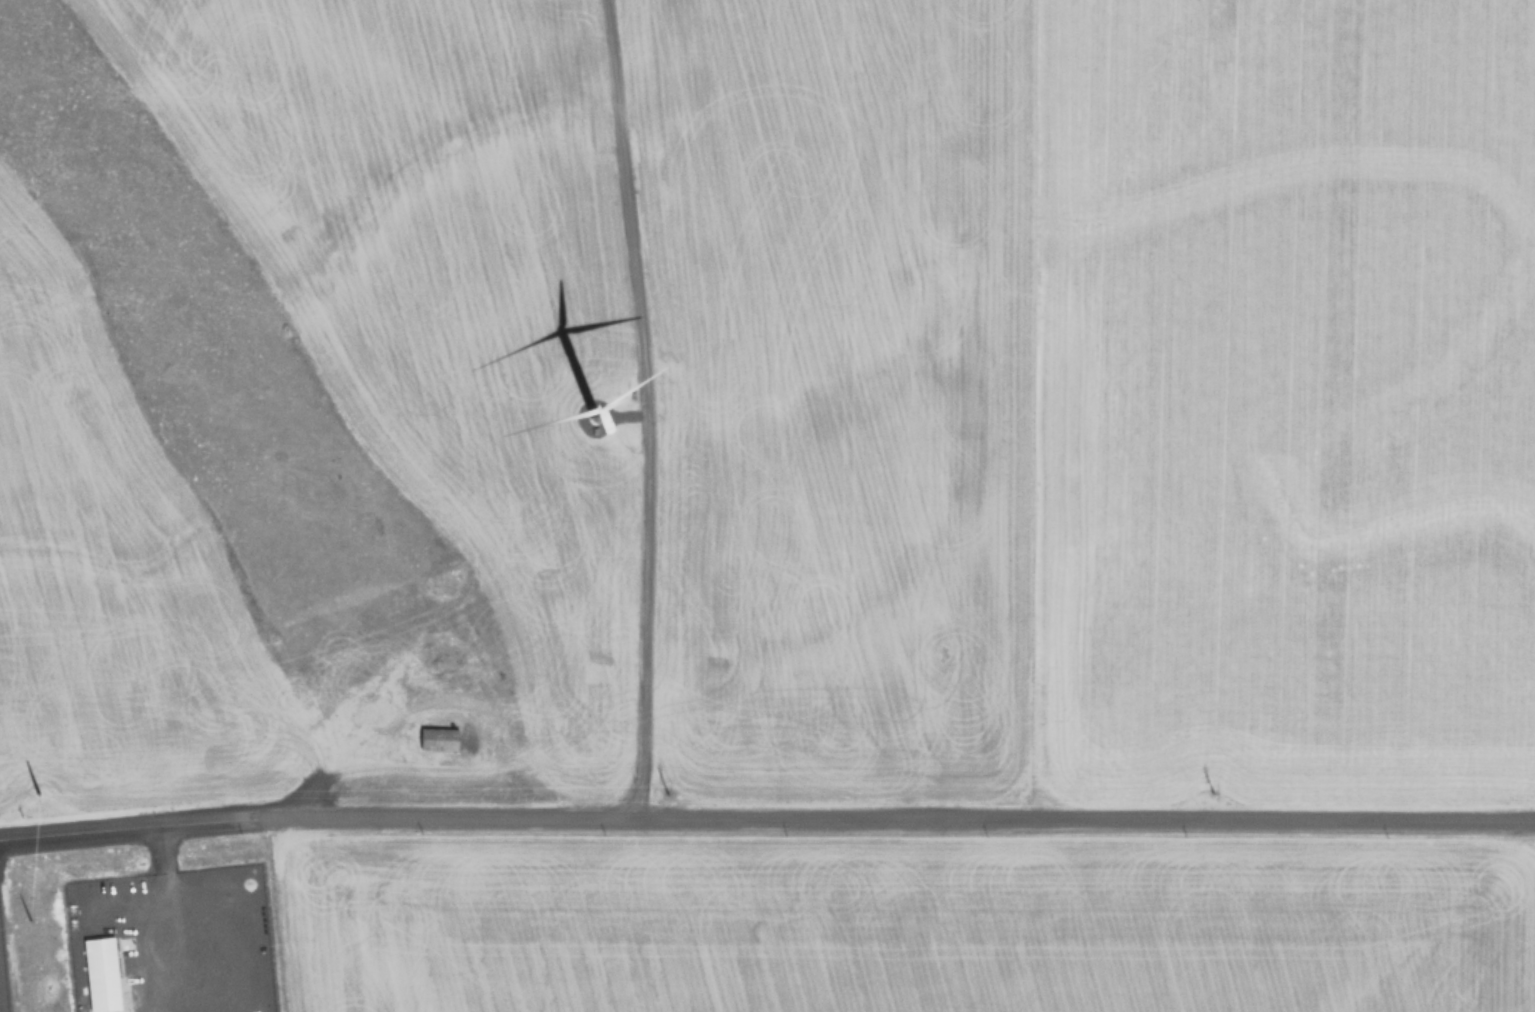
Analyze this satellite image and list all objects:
road: (647, 408)
wind turbine: (586, 410)
road: (895, 818)
road: (128, 826)
road: (169, 913)
building: (104, 972)
power substation: (2, 980)

